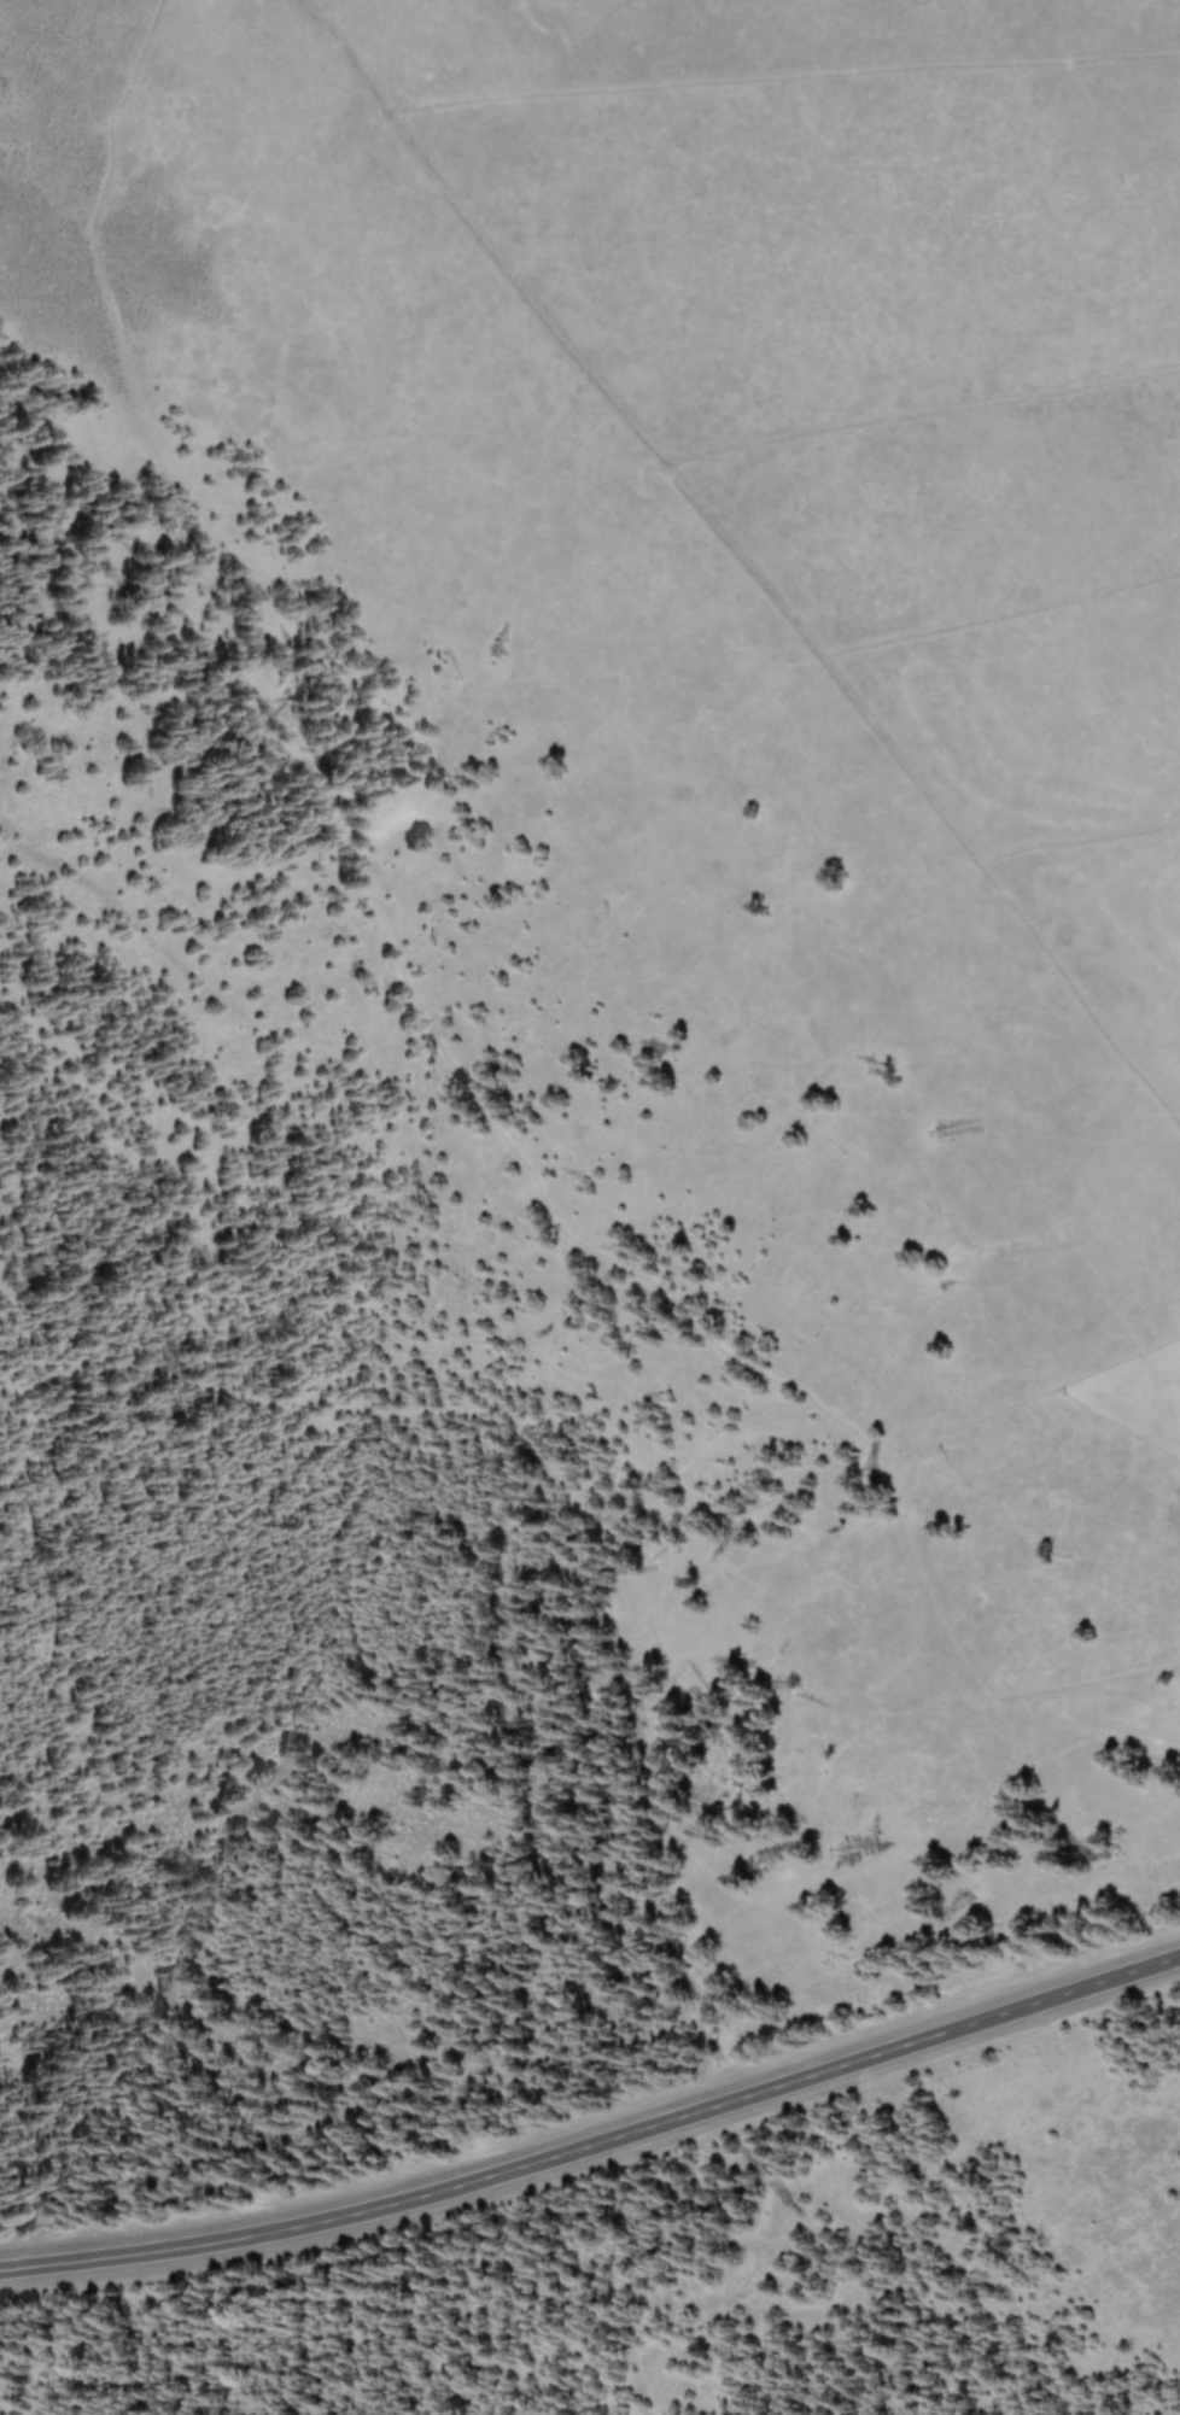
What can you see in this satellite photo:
road: (596, 2138)

